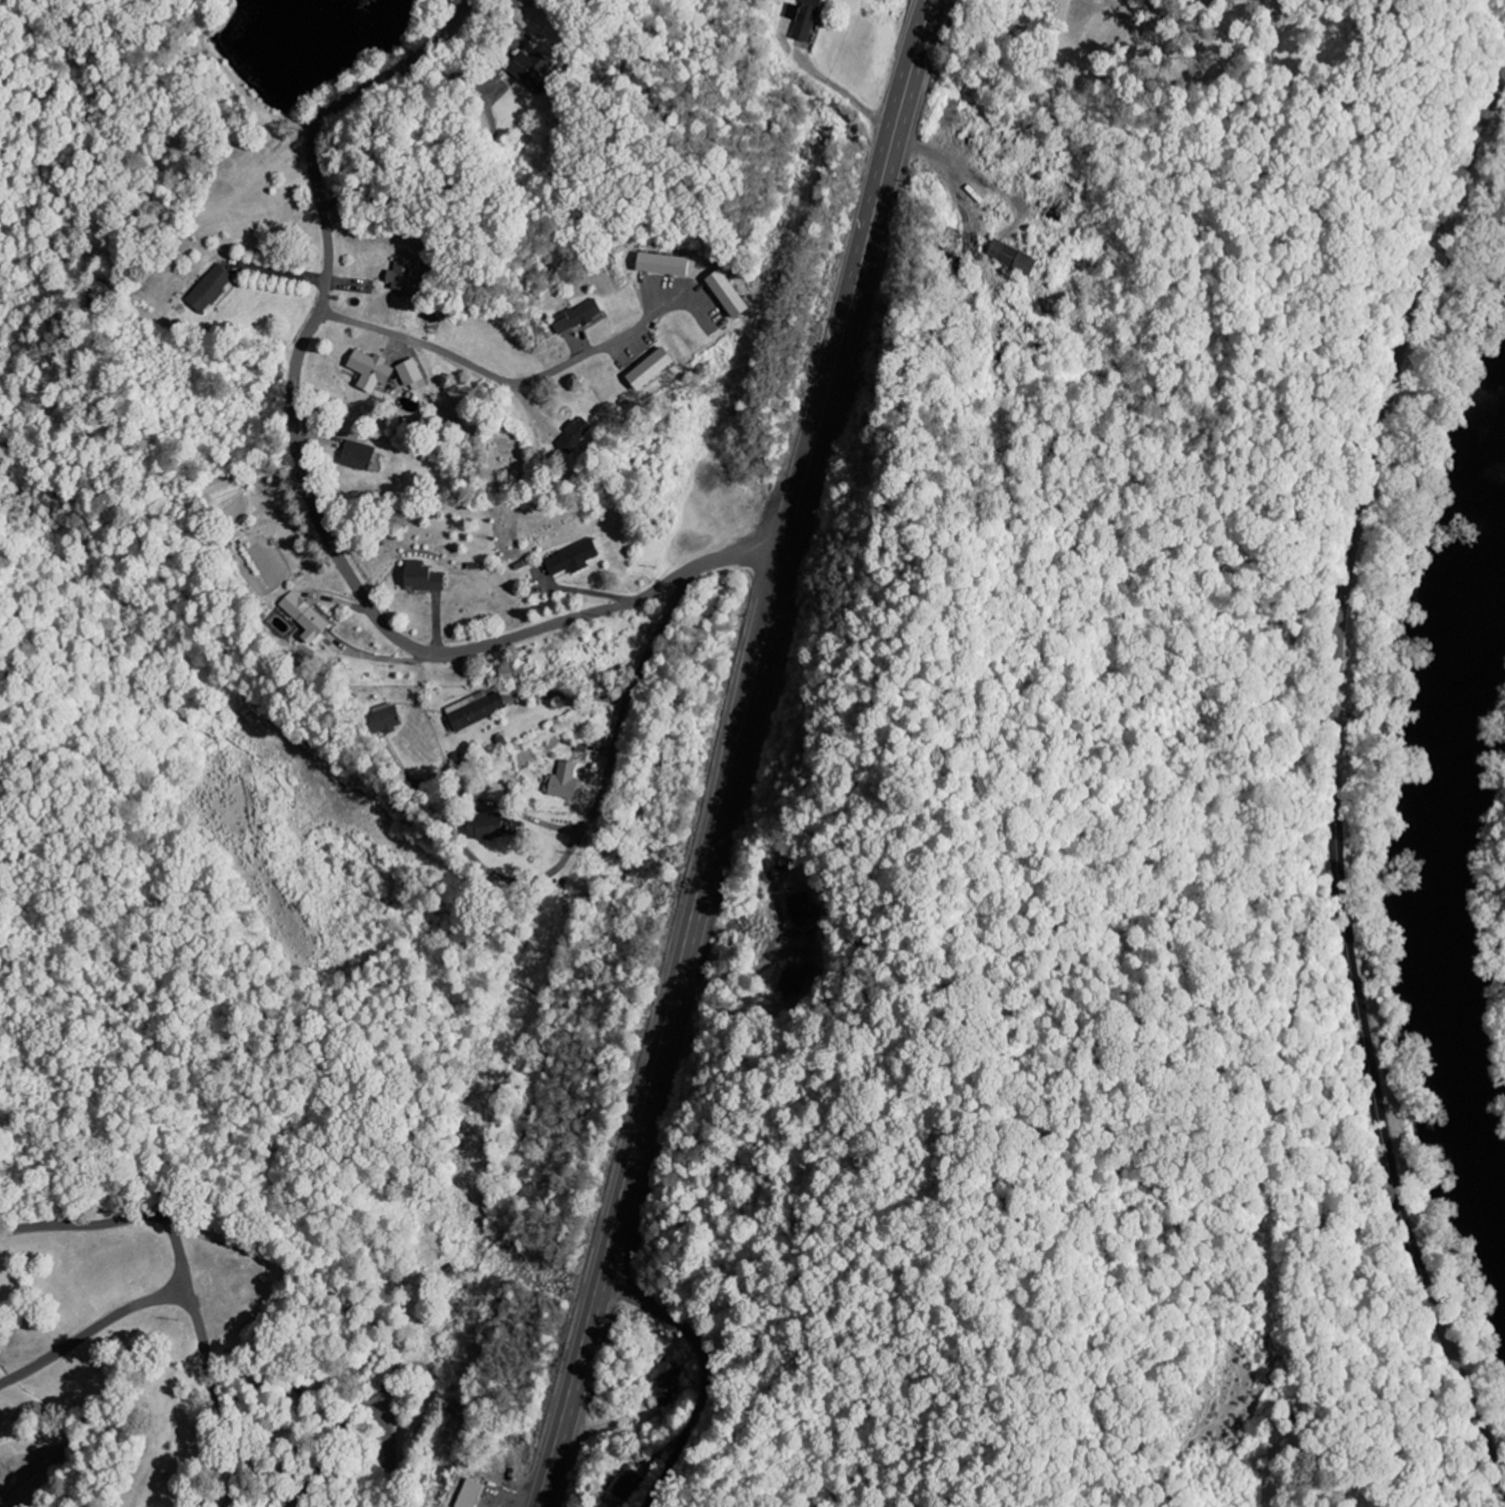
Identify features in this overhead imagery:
building: (806, 21)
building: (538, 71)
road: (458, 81)
road: (491, 149)
road: (681, 166)
road: (408, 197)
building: (1015, 259)
building: (668, 265)
building: (404, 275)
building: (213, 289)
building: (732, 294)
building: (579, 317)
building: (657, 369)
building: (374, 371)
building: (415, 375)
road: (517, 382)
road: (344, 429)
building: (578, 435)
road: (299, 449)
building: (360, 456)
road: (740, 551)
building: (575, 559)
building: (428, 580)
building: (311, 618)
building: (514, 672)
building: (479, 711)
building: (390, 719)
road: (734, 753)
road: (532, 759)
road: (1337, 779)
building: (567, 783)
road: (601, 799)
building: (494, 827)
road: (451, 850)
river: (1451, 883)
building: (805, 908)
building: (798, 981)
road: (186, 1283)
road: (90, 1329)
road: (706, 1369)
building: (667, 1384)
road: (363, 1409)
building: (629, 1486)
building: (474, 1494)

